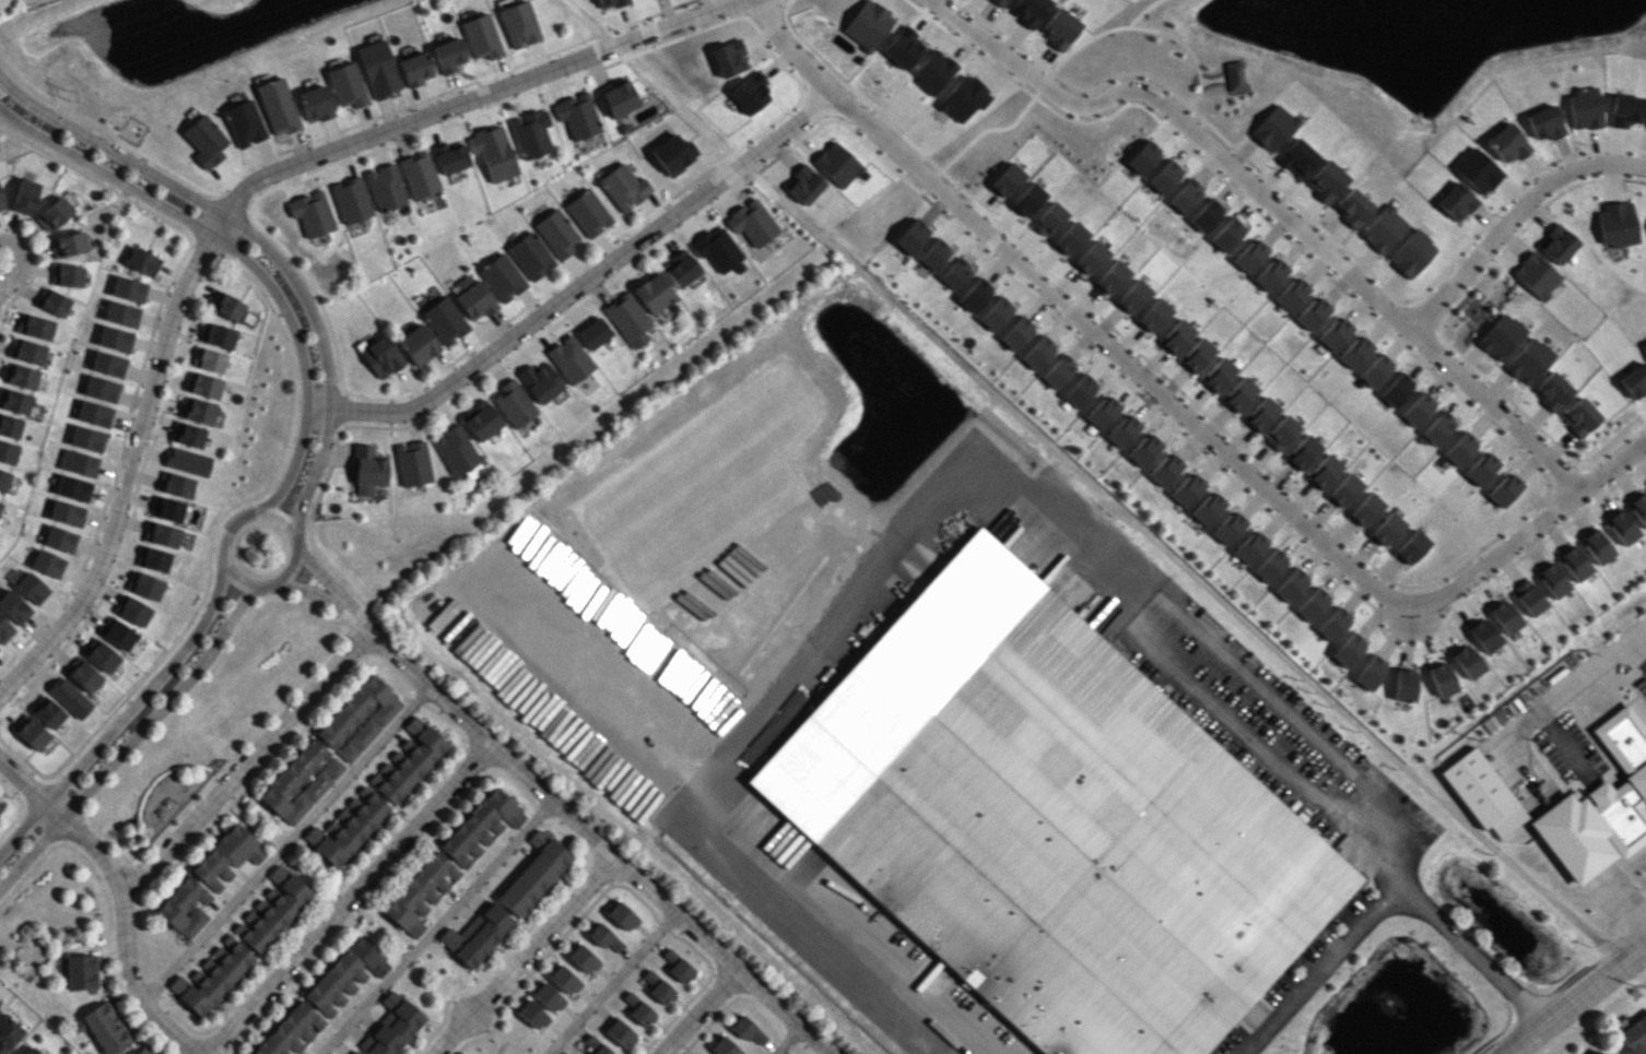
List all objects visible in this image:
building: (1000, 2)
building: (609, 3)
building: (1031, 11)
building: (519, 24)
building: (867, 25)
building: (1059, 28)
building: (481, 36)
building: (903, 48)
building: (448, 56)
building: (728, 58)
building: (378, 69)
building: (415, 69)
building: (932, 71)
building: (1234, 75)
road: (650, 82)
building: (346, 85)
building: (749, 93)
power tower: (69, 95)
road: (1155, 95)
road: (471, 98)
building: (619, 98)
building: (315, 104)
building: (278, 106)
building: (1584, 108)
building: (1624, 110)
building: (576, 115)
building: (244, 122)
building: (1544, 122)
building: (1273, 128)
building: (530, 133)
building: (658, 134)
building: (204, 141)
building: (1507, 143)
building: (493, 152)
building: (673, 154)
building: (449, 157)
building: (1142, 157)
building: (1297, 157)
building: (836, 164)
building: (419, 175)
building: (1164, 177)
building: (1007, 180)
building: (1326, 180)
building: (803, 183)
building: (385, 187)
building: (623, 187)
building: (24, 196)
building: (1185, 196)
building: (351, 200)
building: (1027, 200)
building: (1, 203)
building: (1353, 206)
building: (311, 213)
building: (588, 213)
building: (1207, 215)
building: (1048, 218)
road: (1515, 218)
building: (752, 222)
building: (1616, 224)
building: (1383, 228)
building: (556, 233)
building: (1226, 235)
building: (912, 236)
building: (1069, 238)
building: (68, 244)
road: (259, 244)
building: (1557, 244)
building: (717, 249)
building: (1411, 253)
road: (243, 254)
building: (1249, 254)
building: (530, 256)
building: (1091, 258)
road: (22, 260)
building: (142, 261)
building: (680, 269)
building: (954, 274)
building: (1270, 274)
building: (67, 275)
building: (1536, 275)
building: (502, 277)
building: (1112, 277)
road: (578, 284)
building: (128, 288)
building: (654, 293)
building: (1291, 293)
building: (974, 295)
building: (1132, 296)
building: (475, 300)
building: (52, 301)
road: (1062, 305)
building: (227, 306)
building: (1313, 312)
building: (121, 313)
building: (996, 313)
building: (1153, 315)
building: (445, 320)
building: (627, 320)
building: (36, 327)
building: (1333, 332)
building: (593, 333)
building: (1016, 334)
building: (219, 335)
building: (1176, 336)
building: (1501, 336)
building: (115, 339)
building: (418, 344)
building: (1644, 347)
building: (1354, 351)
building: (28, 352)
building: (1038, 353)
building: (1196, 355)
building: (381, 356)
building: (569, 359)
building: (210, 360)
building: (1529, 360)
building: (107, 364)
building: (1375, 370)
building: (1059, 371)
building: (1218, 374)
building: (21, 376)
road: (1467, 379)
building: (1634, 380)
building: (540, 382)
building: (205, 386)
building: (101, 389)
building: (1396, 389)
building: (1552, 390)
building: (1080, 391)
building: (1238, 394)
building: (14, 401)
building: (514, 403)
building: (1418, 410)
building: (198, 411)
building: (1102, 412)
building: (93, 413)
building: (1260, 414)
building: (1579, 416)
building: (482, 423)
building: (10, 426)
building: (1438, 427)
building: (1122, 430)
building: (1281, 433)
building: (187, 435)
building: (86, 438)
building: (1460, 449)
building: (456, 450)
building: (1143, 450)
building: (8, 452)
building: (1302, 452)
building: (187, 461)
building: (78, 463)
building: (412, 463)
road: (129, 464)
building: (1481, 467)
building: (1165, 469)
building: (367, 471)
building: (473, 471)
building: (1322, 471)
building: (3, 479)
building: (177, 485)
building: (72, 488)
building: (1187, 488)
building: (1504, 488)
building: (1344, 490)
building: (0, 505)
building: (1207, 508)
building: (1638, 508)
building: (167, 509)
building: (1365, 509)
building: (66, 513)
building: (1227, 528)
building: (1621, 528)
building: (1386, 529)
building: (164, 535)
road: (1520, 535)
building: (60, 538)
building: (1249, 546)
building: (1596, 546)
building: (1411, 547)
building: (155, 559)
road: (1181, 562)
building: (47, 564)
building: (1574, 564)
building: (1270, 566)
road: (321, 577)
building: (1552, 580)
road: (919, 582)
road: (254, 584)
building: (145, 585)
building: (1291, 585)
building: (31, 588)
road: (309, 591)
building: (1528, 597)
building: (1313, 605)
building: (13, 607)
building: (131, 609)
building: (1505, 617)
building: (1333, 624)
building: (4, 630)
road: (1410, 631)
building: (117, 633)
building: (1483, 636)
building: (1349, 650)
road: (1638, 654)
building: (101, 655)
building: (1468, 661)
building: (1371, 672)
building: (83, 675)
building: (1442, 678)
parking lot: (1637, 679)
building: (1403, 685)
road: (1574, 690)
road: (614, 696)
building: (69, 697)
road: (1275, 704)
building: (47, 712)
road: (121, 714)
building: (358, 718)
building: (31, 732)
road: (131, 737)
building: (411, 759)
road: (242, 762)
building: (301, 781)
road: (28, 789)
building: (1569, 803)
building: (0, 806)
building: (348, 827)
building: (480, 827)
road: (585, 829)
road: (1574, 840)
road: (285, 843)
building: (1090, 848)
building: (226, 857)
building: (533, 873)
building: (420, 893)
road: (1388, 896)
road: (348, 898)
building: (184, 908)
building: (275, 910)
building: (621, 916)
road: (437, 926)
building: (477, 935)
road: (124, 937)
building: (606, 938)
road: (526, 955)
building: (581, 959)
building: (675, 964)
building: (81, 971)
building: (345, 975)
building: (212, 978)
building: (563, 980)
road: (613, 983)
building: (656, 986)
building: (549, 998)
road: (1576, 1000)
building: (636, 1008)
road: (697, 1011)
building: (532, 1015)
building: (392, 1027)
building: (106, 1028)
building: (746, 1030)
building: (291, 1031)
building: (619, 1032)
building: (8, 1033)
building: (1633, 1037)
road: (785, 1039)
building: (592, 1045)
building: (724, 1046)
building: (31, 1051)
building: (143, 1051)
building: (354, 1052)
building: (1592, 1052)

